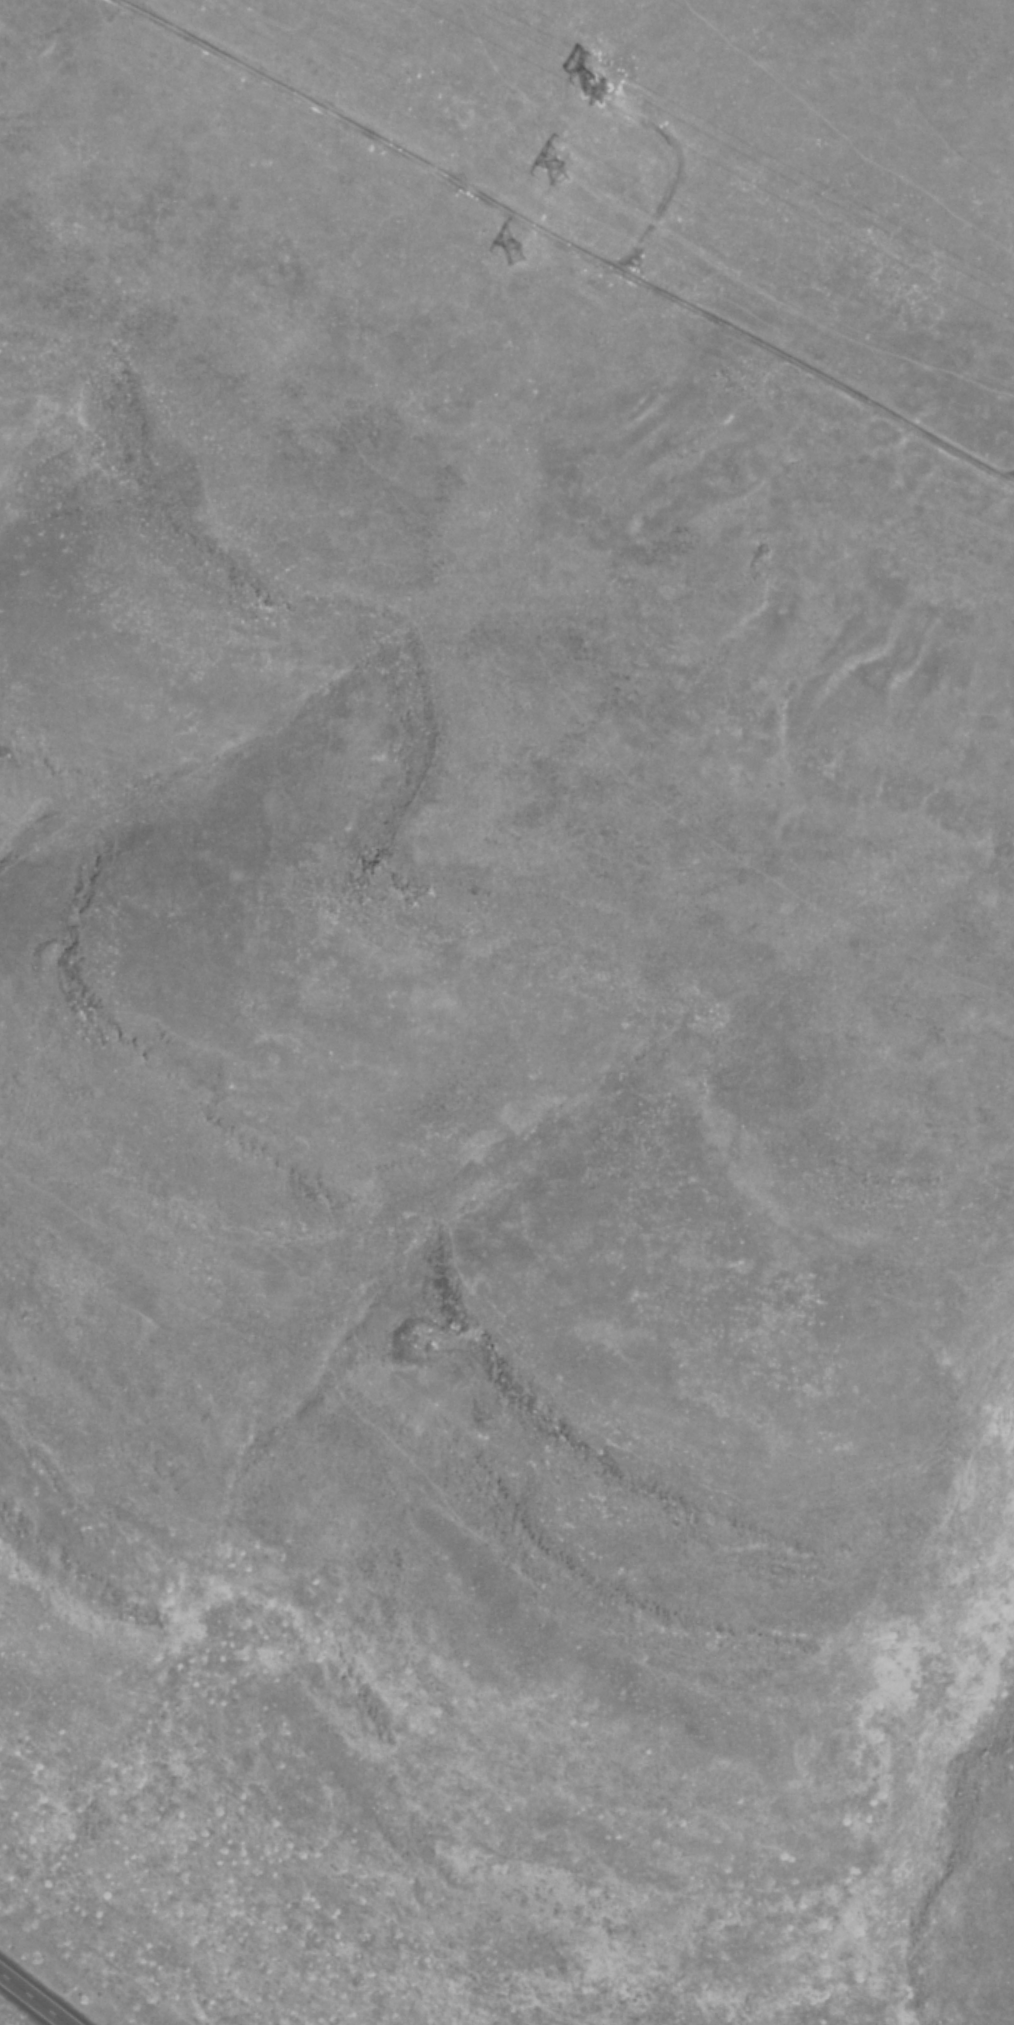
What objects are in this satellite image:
power tower: (589, 83)
power tower: (563, 171)
power tower: (516, 255)
road: (39, 1995)

